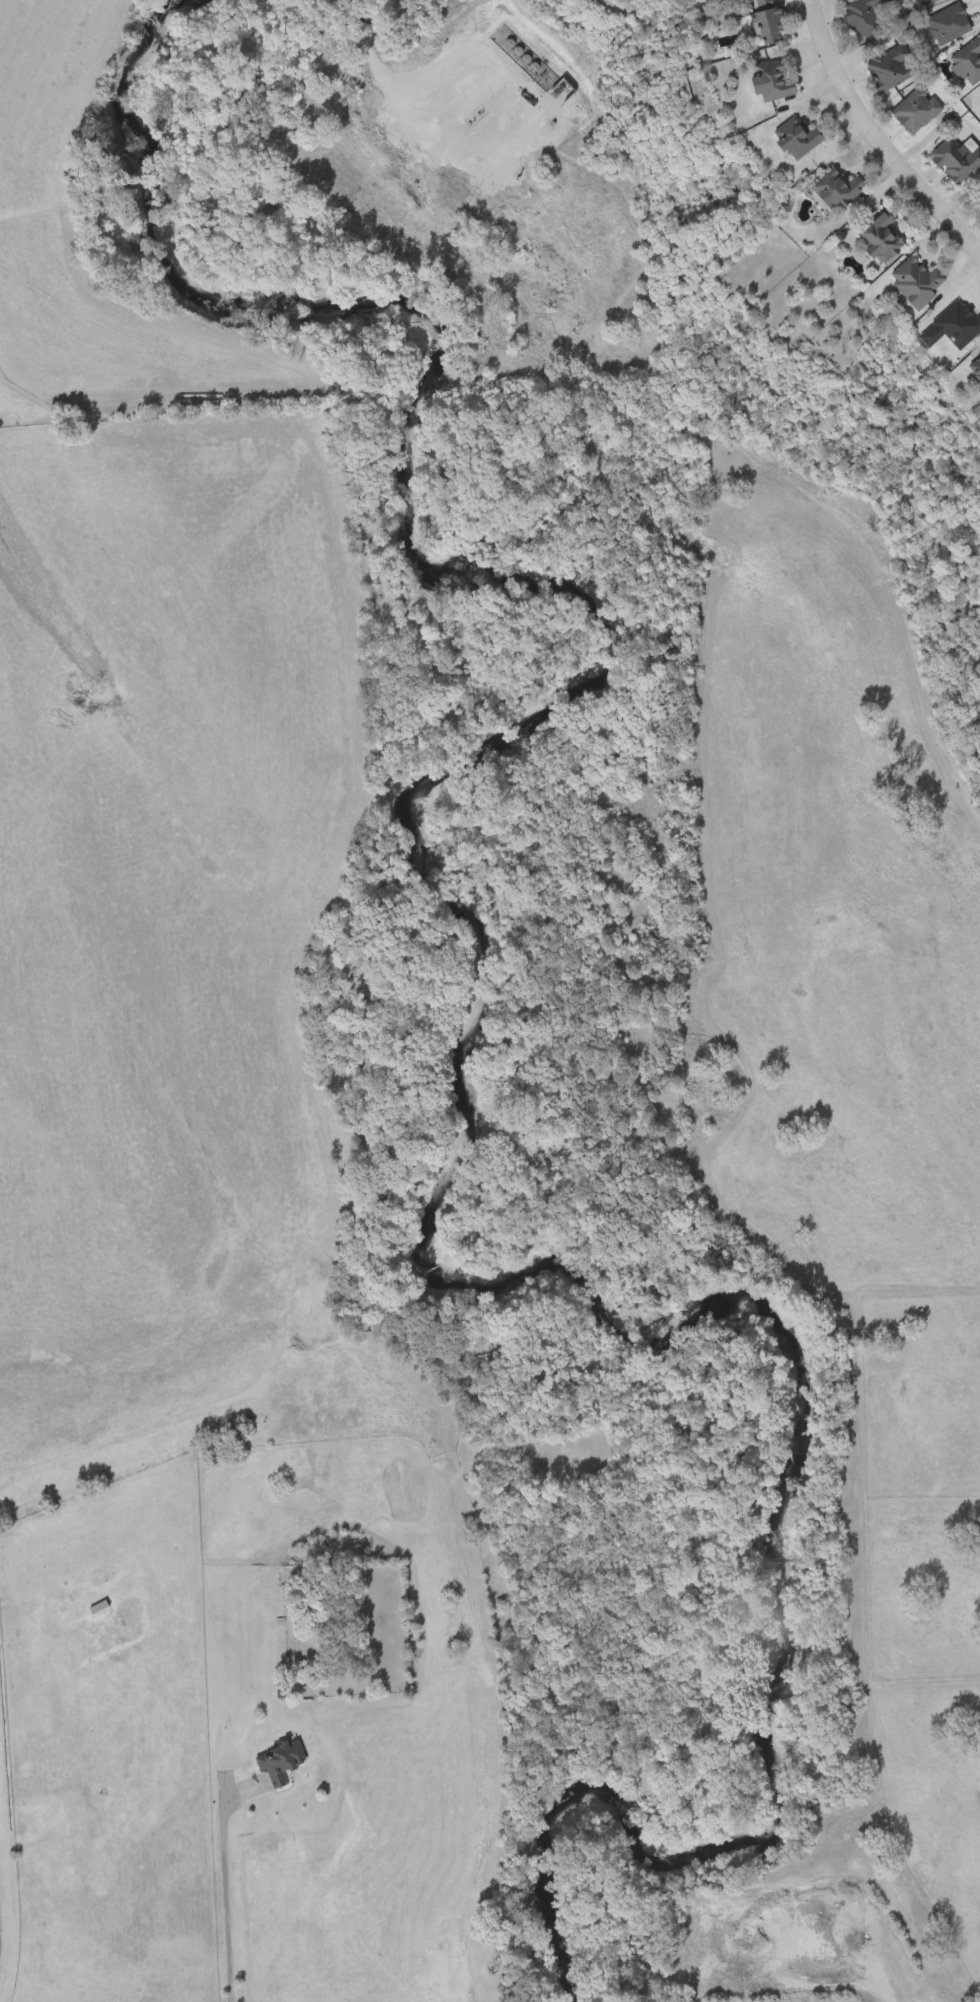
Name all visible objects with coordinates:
building: (917, 2)
building: (860, 16)
building: (759, 20)
building: (941, 22)
building: (962, 61)
road: (373, 66)
building: (761, 80)
building: (978, 83)
building: (907, 108)
building: (789, 136)
road: (876, 140)
building: (950, 158)
building: (825, 189)
building: (974, 202)
building: (872, 235)
building: (908, 281)
building: (942, 326)
building: (971, 372)
river: (451, 1077)
building: (97, 1607)
building: (279, 1761)
road: (222, 1900)
building: (698, 1941)

